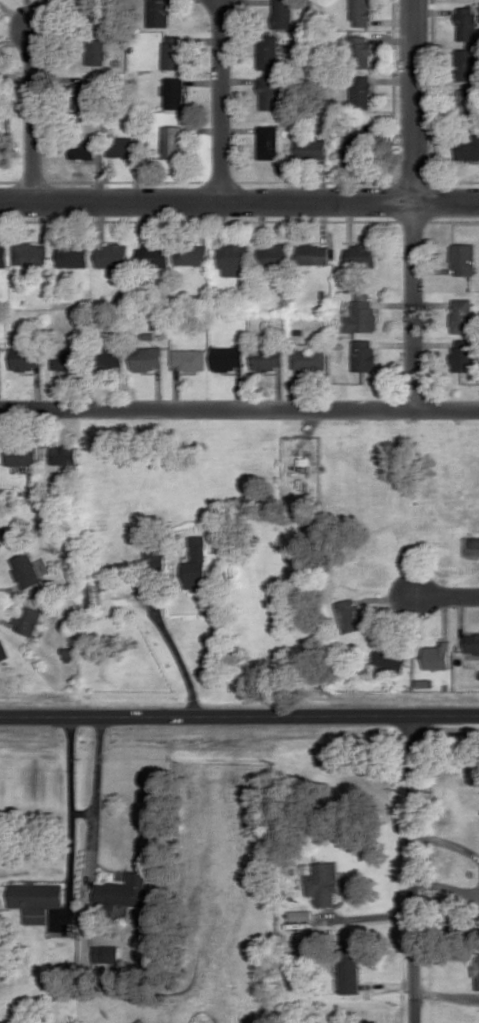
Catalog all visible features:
building: (361, 12)
building: (159, 13)
building: (283, 14)
building: (467, 22)
building: (360, 51)
building: (96, 52)
building: (173, 52)
building: (268, 52)
building: (465, 64)
building: (361, 92)
building: (174, 93)
building: (270, 93)
building: (85, 94)
road: (223, 101)
building: (467, 101)
road: (35, 113)
building: (172, 141)
building: (268, 142)
building: (467, 146)
building: (123, 147)
building: (353, 147)
building: (83, 148)
building: (311, 148)
road: (239, 202)
road: (415, 204)
building: (30, 254)
building: (274, 254)
building: (313, 254)
building: (4, 255)
building: (113, 255)
building: (192, 255)
building: (73, 256)
building: (153, 256)
building: (361, 256)
building: (233, 258)
building: (464, 259)
building: (462, 315)
building: (362, 317)
building: (364, 355)
building: (110, 357)
building: (464, 357)
building: (25, 358)
building: (147, 358)
building: (228, 358)
building: (66, 359)
building: (190, 359)
building: (267, 359)
building: (310, 359)
road: (118, 387)
road: (178, 387)
road: (160, 388)
road: (241, 388)
road: (280, 388)
road: (300, 389)
road: (239, 408)
building: (21, 455)
building: (63, 455)
park: (420, 489)
building: (1, 534)
building: (155, 556)
building: (198, 563)
building: (26, 571)
building: (94, 588)
road: (448, 596)
road: (390, 597)
building: (351, 614)
road: (446, 616)
building: (29, 619)
road: (462, 619)
building: (472, 643)
road: (176, 645)
building: (3, 650)
building: (439, 655)
building: (393, 656)
building: (352, 679)
building: (426, 681)
road: (239, 714)
road: (447, 736)
road: (95, 789)
road: (68, 801)
road: (447, 842)
road: (413, 869)
building: (326, 880)
road: (446, 887)
building: (123, 891)
building: (36, 899)
building: (302, 912)
road: (368, 915)
building: (107, 953)
building: (476, 968)
building: (356, 972)
road: (394, 984)
road: (447, 994)
building: (142, 1021)

